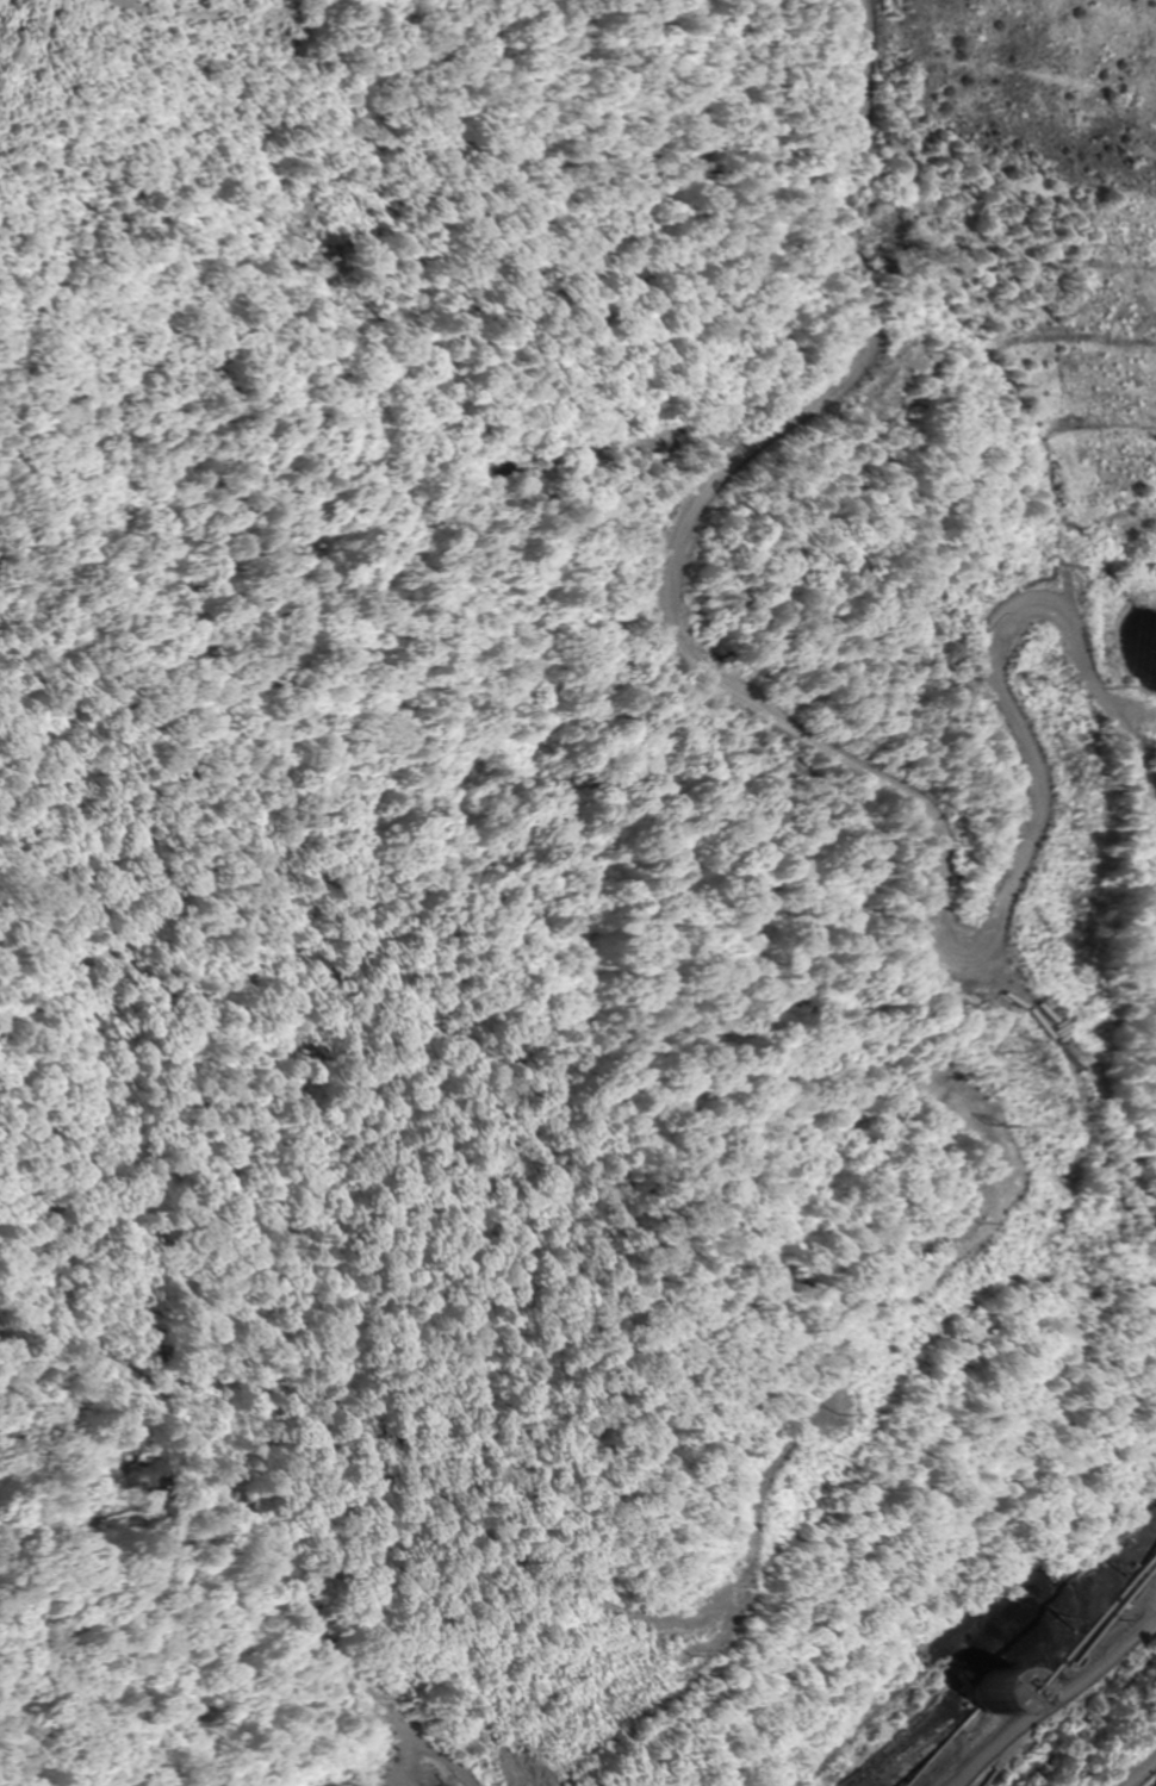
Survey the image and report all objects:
road: (1155, 1785)

